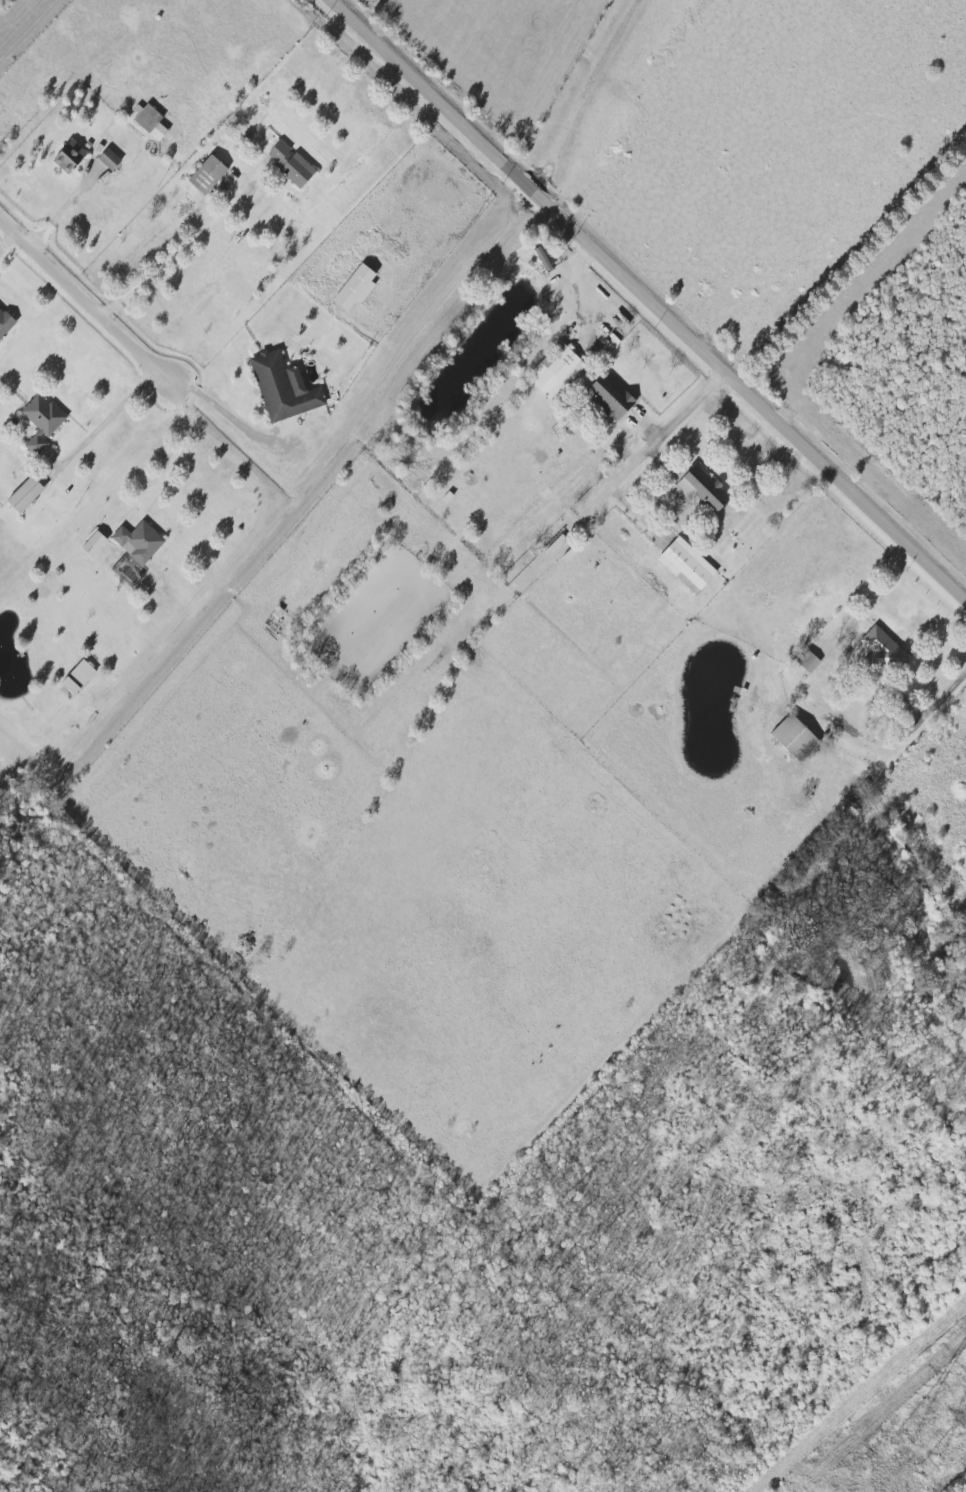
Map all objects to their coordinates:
road: (584, 92)
building: (146, 122)
building: (66, 157)
building: (106, 160)
building: (287, 164)
building: (203, 176)
road: (61, 211)
road: (6, 242)
road: (178, 249)
building: (539, 260)
building: (351, 289)
road: (653, 297)
road: (85, 301)
building: (6, 322)
building: (554, 372)
building: (283, 389)
building: (606, 398)
road: (227, 409)
road: (105, 419)
building: (43, 422)
road: (670, 432)
road: (179, 447)
building: (700, 490)
building: (28, 494)
building: (140, 541)
building: (97, 544)
building: (684, 566)
road: (185, 642)
building: (805, 662)
building: (80, 677)
road: (910, 729)
building: (790, 738)
power tower: (899, 1444)
power tower: (926, 1466)

